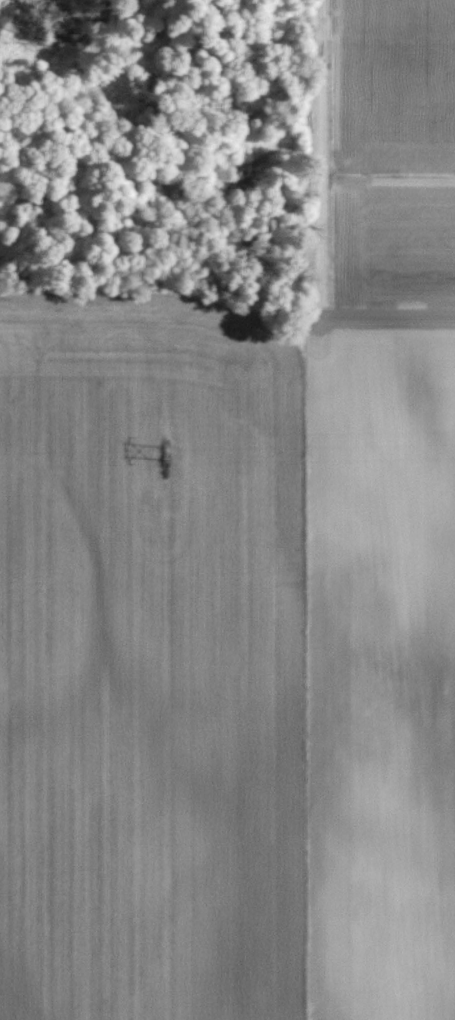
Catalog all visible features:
power tower: (163, 453)

